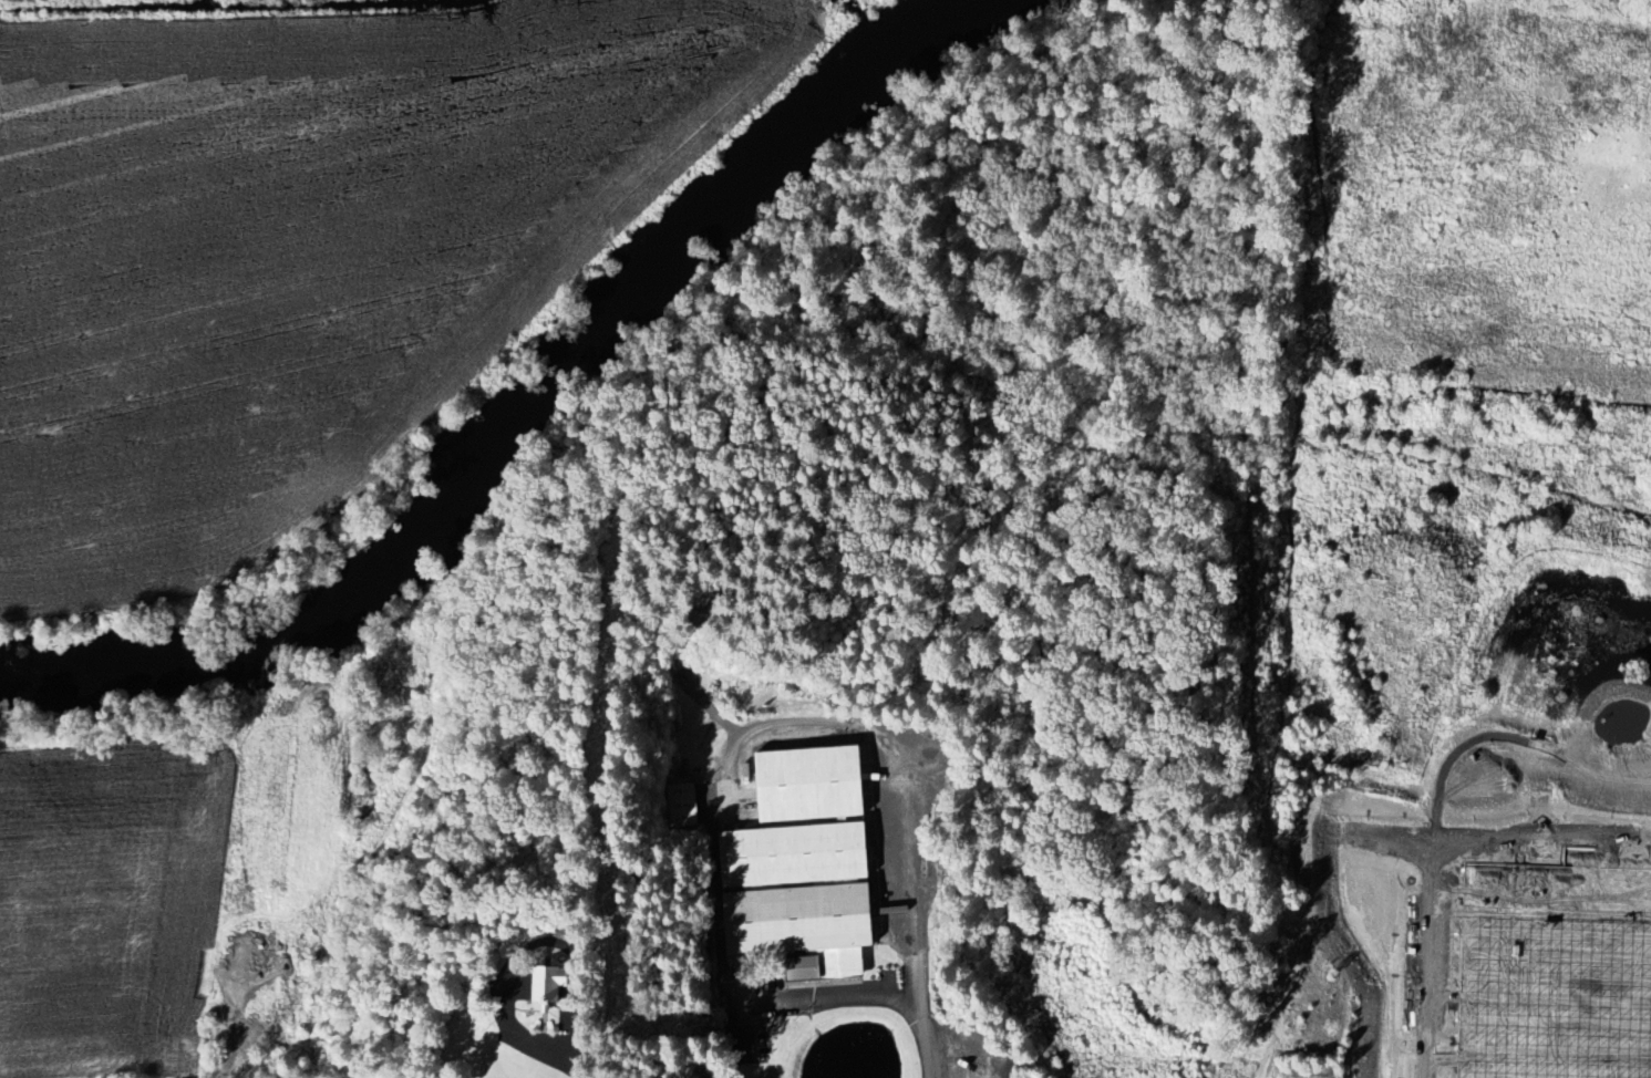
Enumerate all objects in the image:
river: (922, 32)
river: (479, 458)
building: (682, 805)
road: (912, 922)
road: (838, 996)
park: (1297, 1077)

